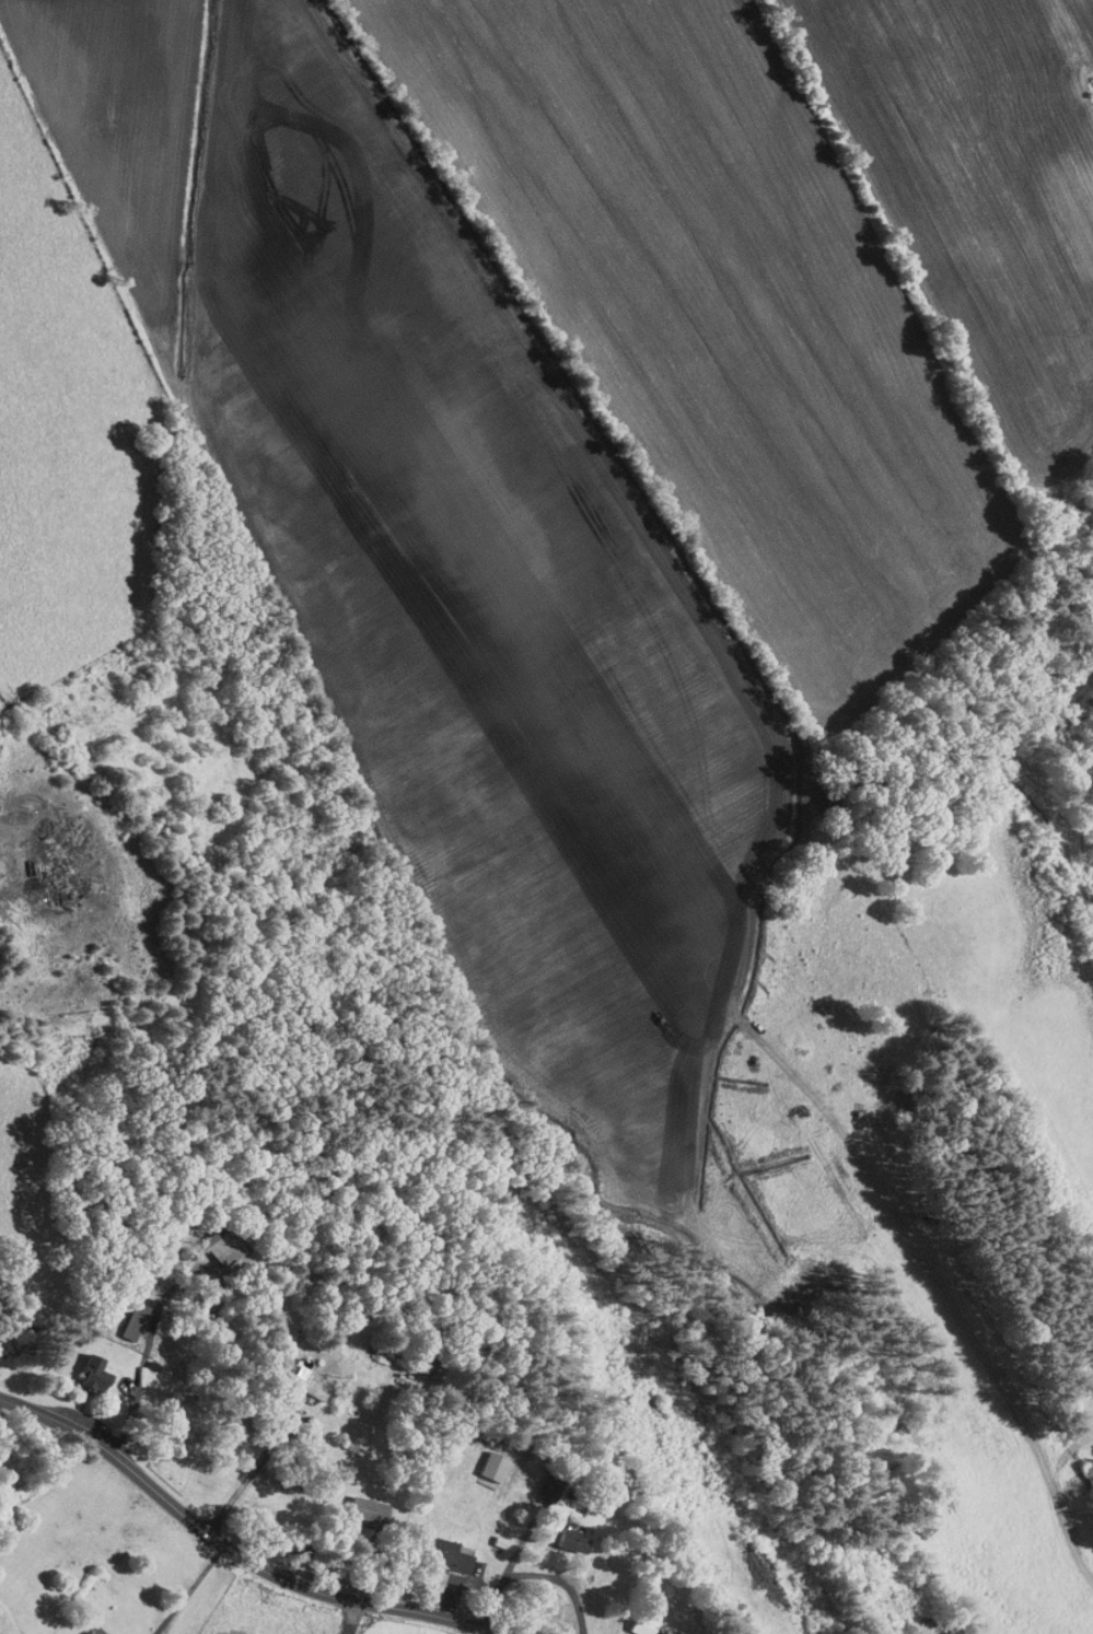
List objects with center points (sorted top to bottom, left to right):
road: (34, 833)
road: (148, 1351)
road: (230, 1551)
road: (537, 1576)
road: (190, 1591)
road: (351, 1618)

